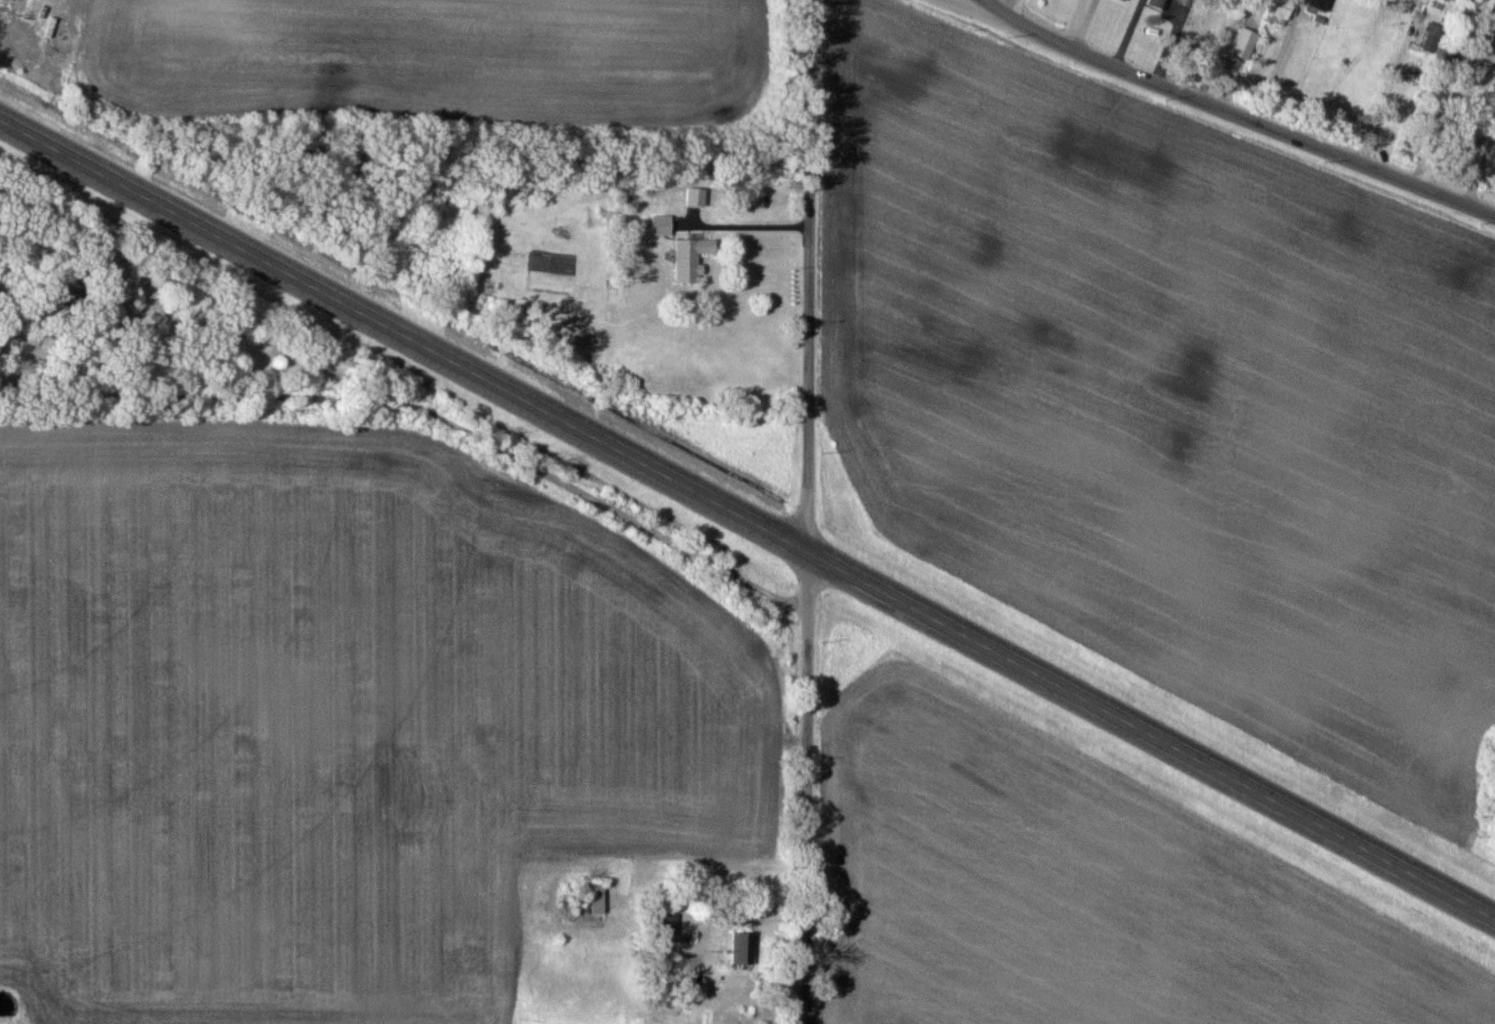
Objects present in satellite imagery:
building: (1470, 0)
building: (1156, 4)
building: (1282, 8)
road: (974, 9)
road: (1017, 9)
road: (1075, 22)
building: (1430, 38)
building: (1492, 42)
road: (1237, 111)
road: (1451, 118)
building: (693, 196)
road: (748, 215)
building: (659, 223)
building: (688, 258)
road: (810, 512)
road: (747, 520)
building: (595, 897)
building: (667, 924)
building: (733, 954)

